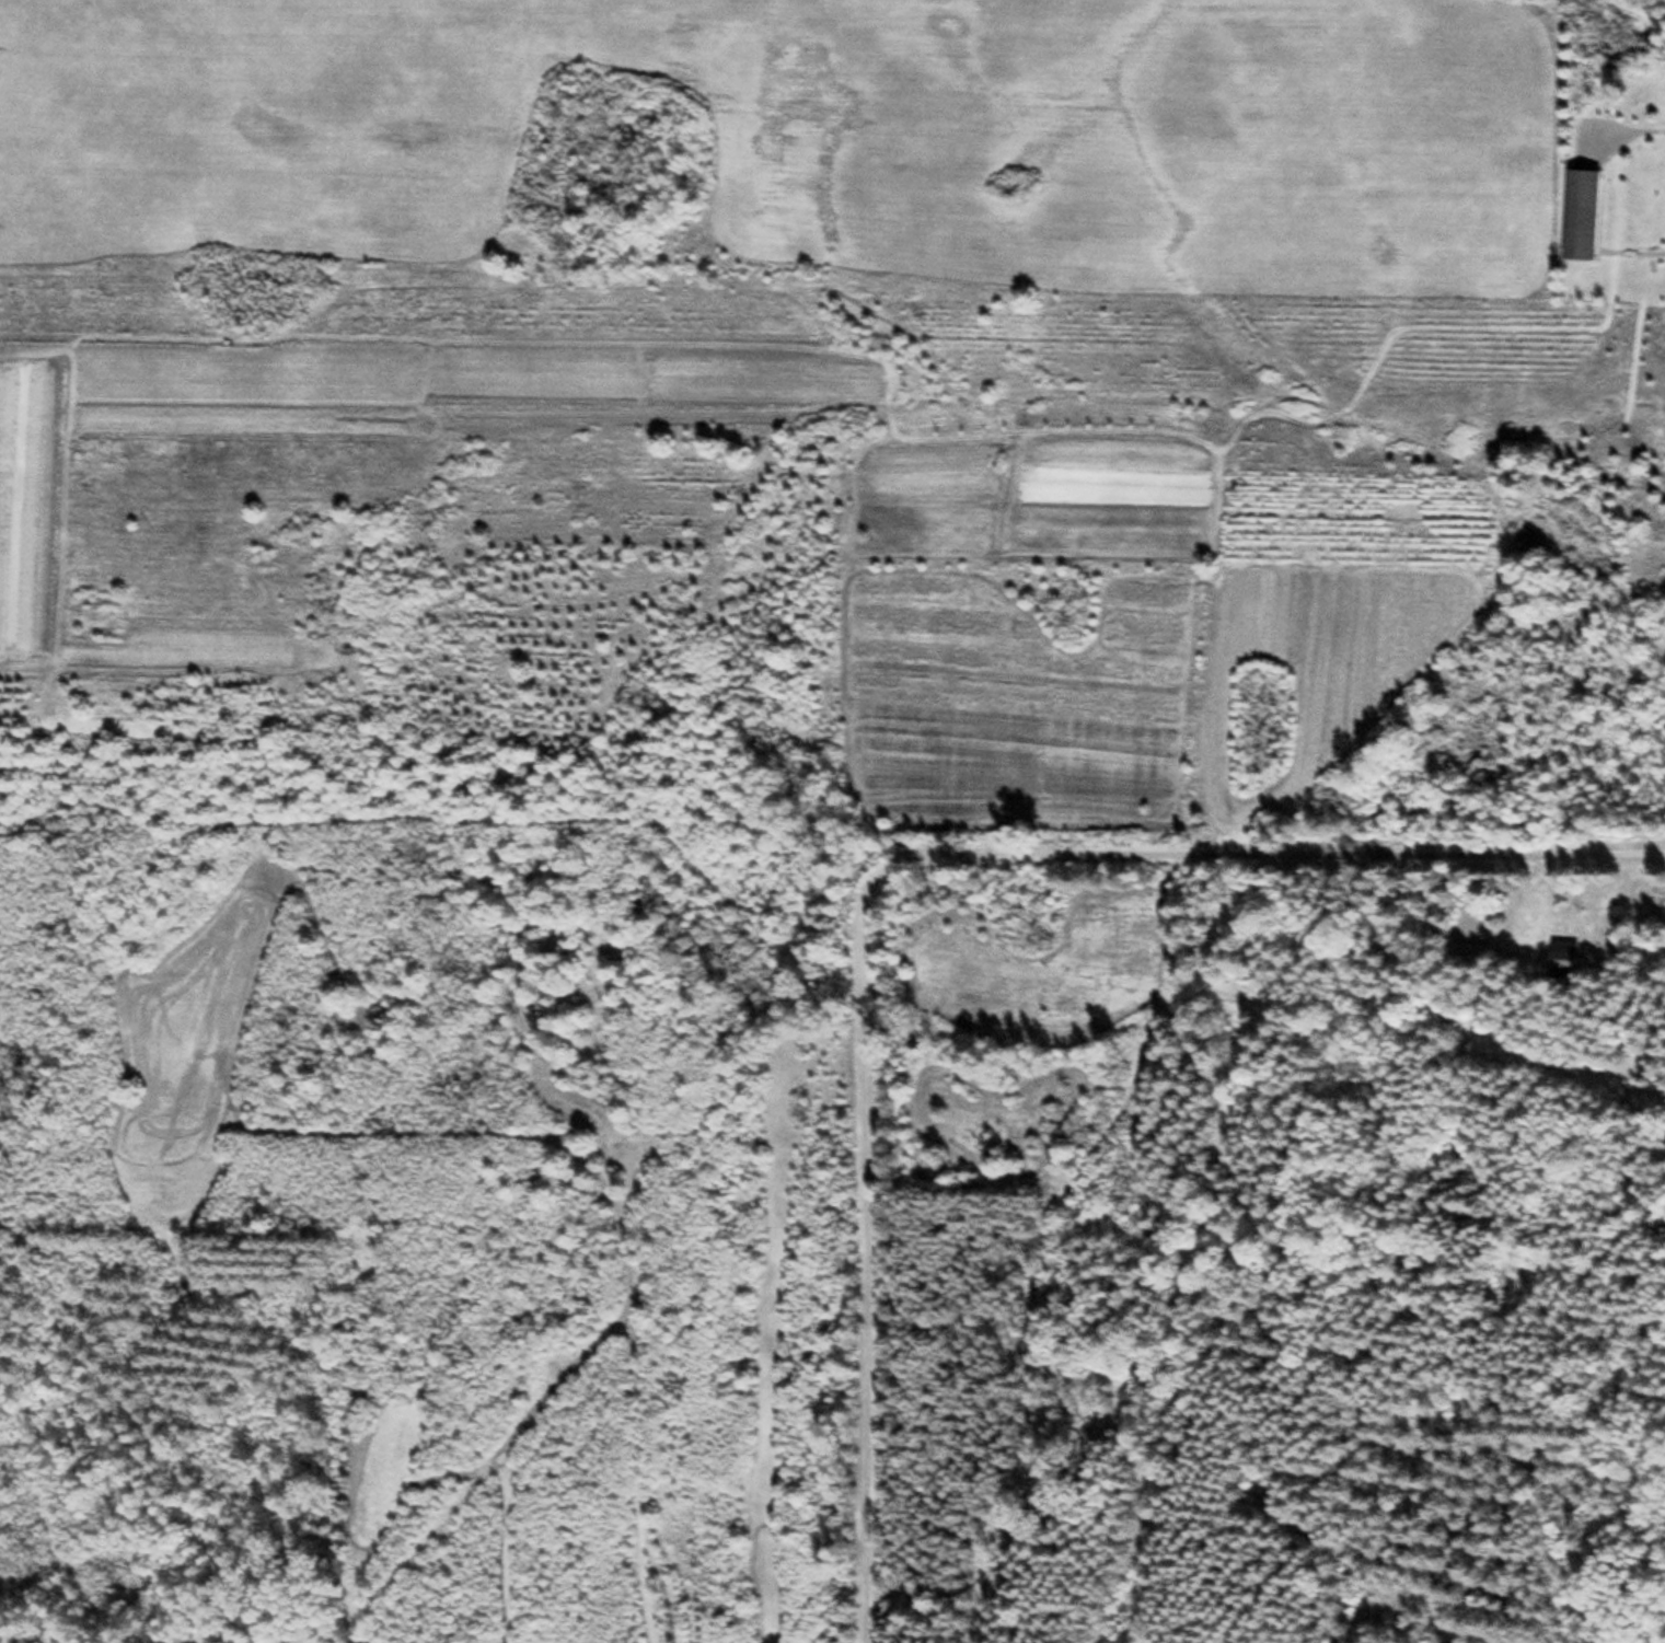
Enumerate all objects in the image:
building: (1579, 213)
building: (1559, 962)

